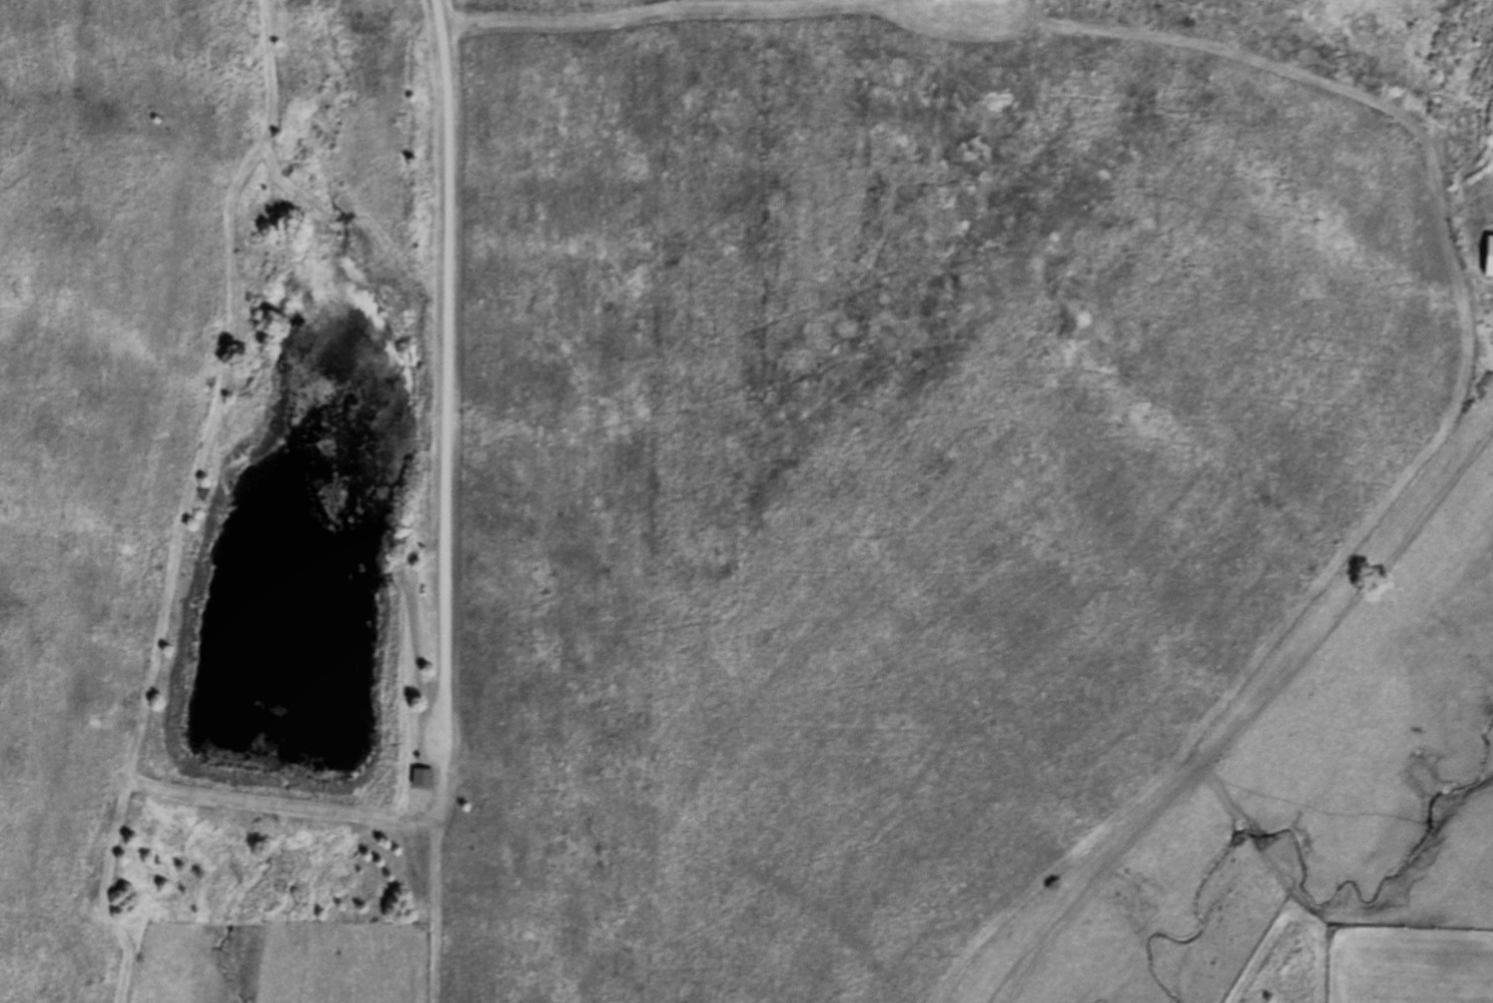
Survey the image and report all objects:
building: (971, 0)
road: (908, 2)
road: (546, 14)
building: (1488, 257)
road: (452, 375)
road: (1469, 387)
road: (193, 501)
pier: (386, 581)
road: (420, 657)
building: (425, 776)
road: (317, 812)
road: (438, 908)

